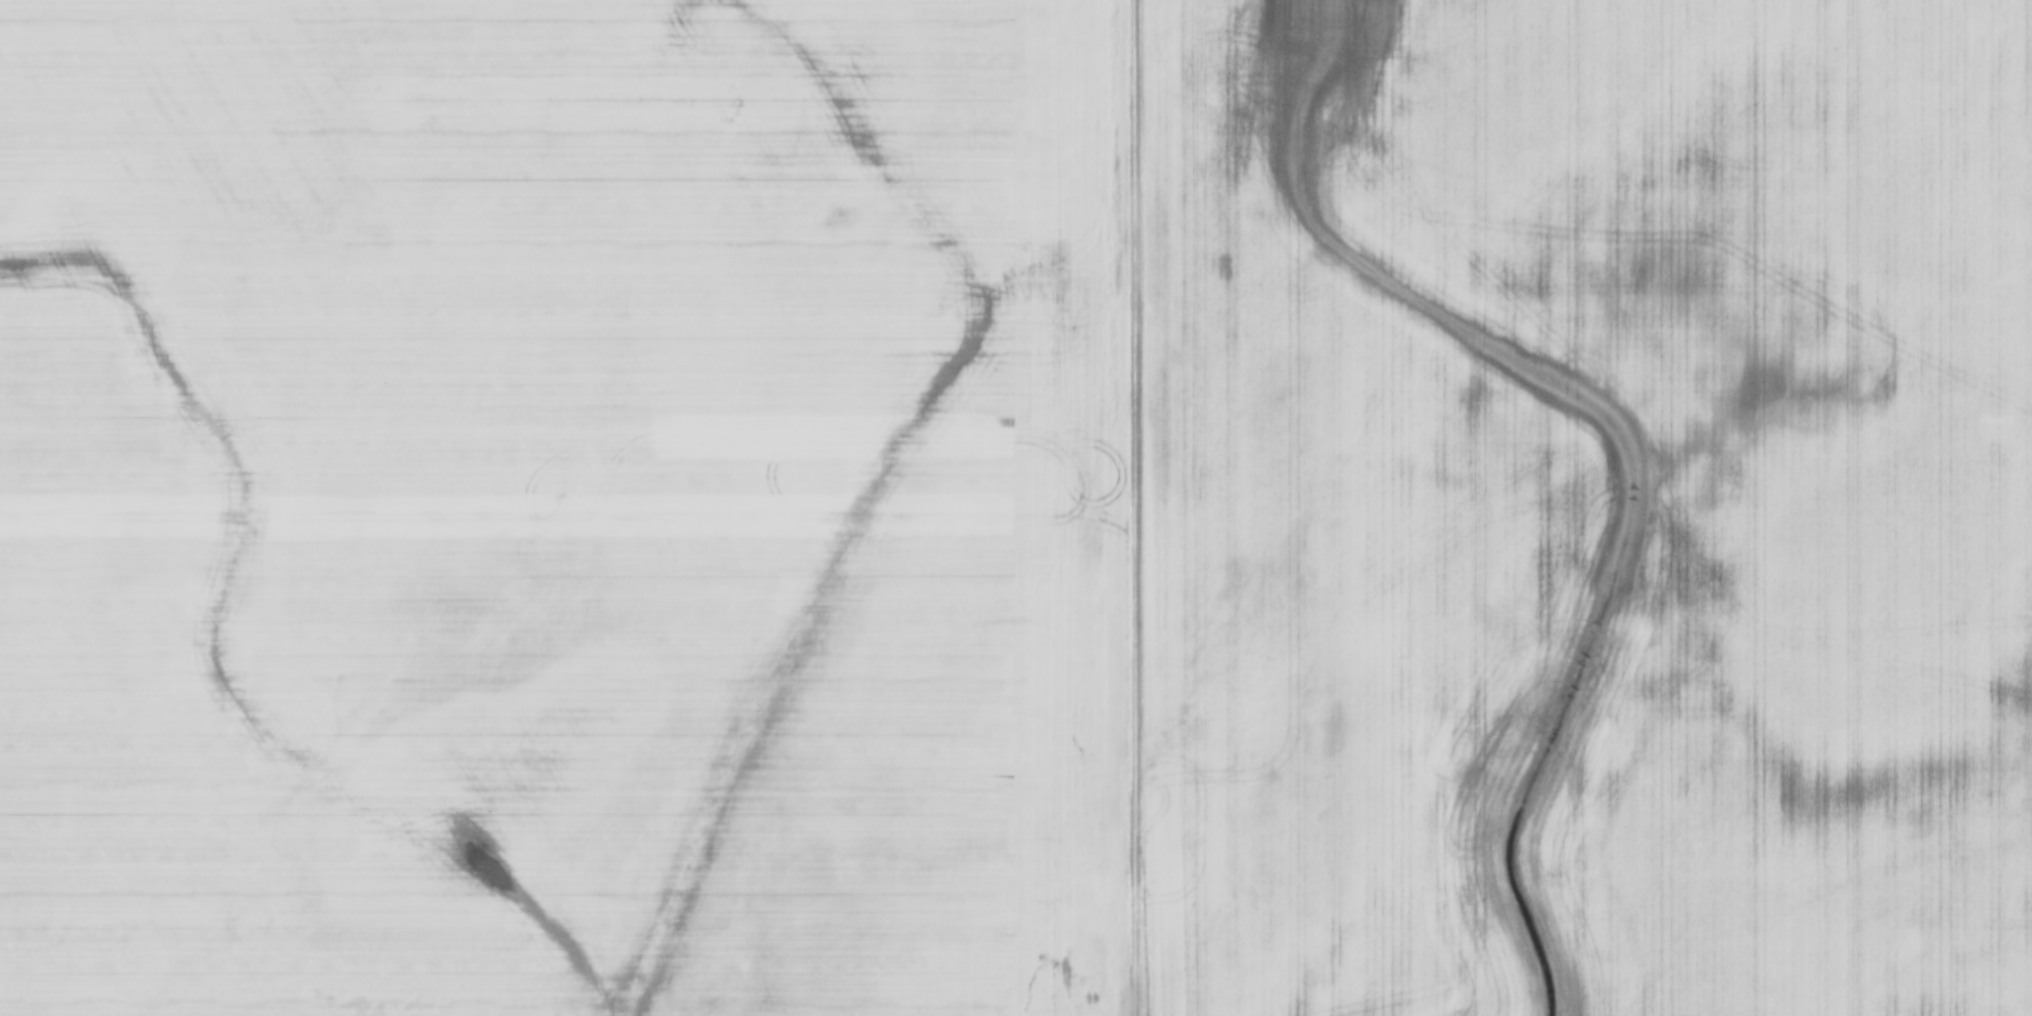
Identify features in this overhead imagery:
road: (1138, 507)

